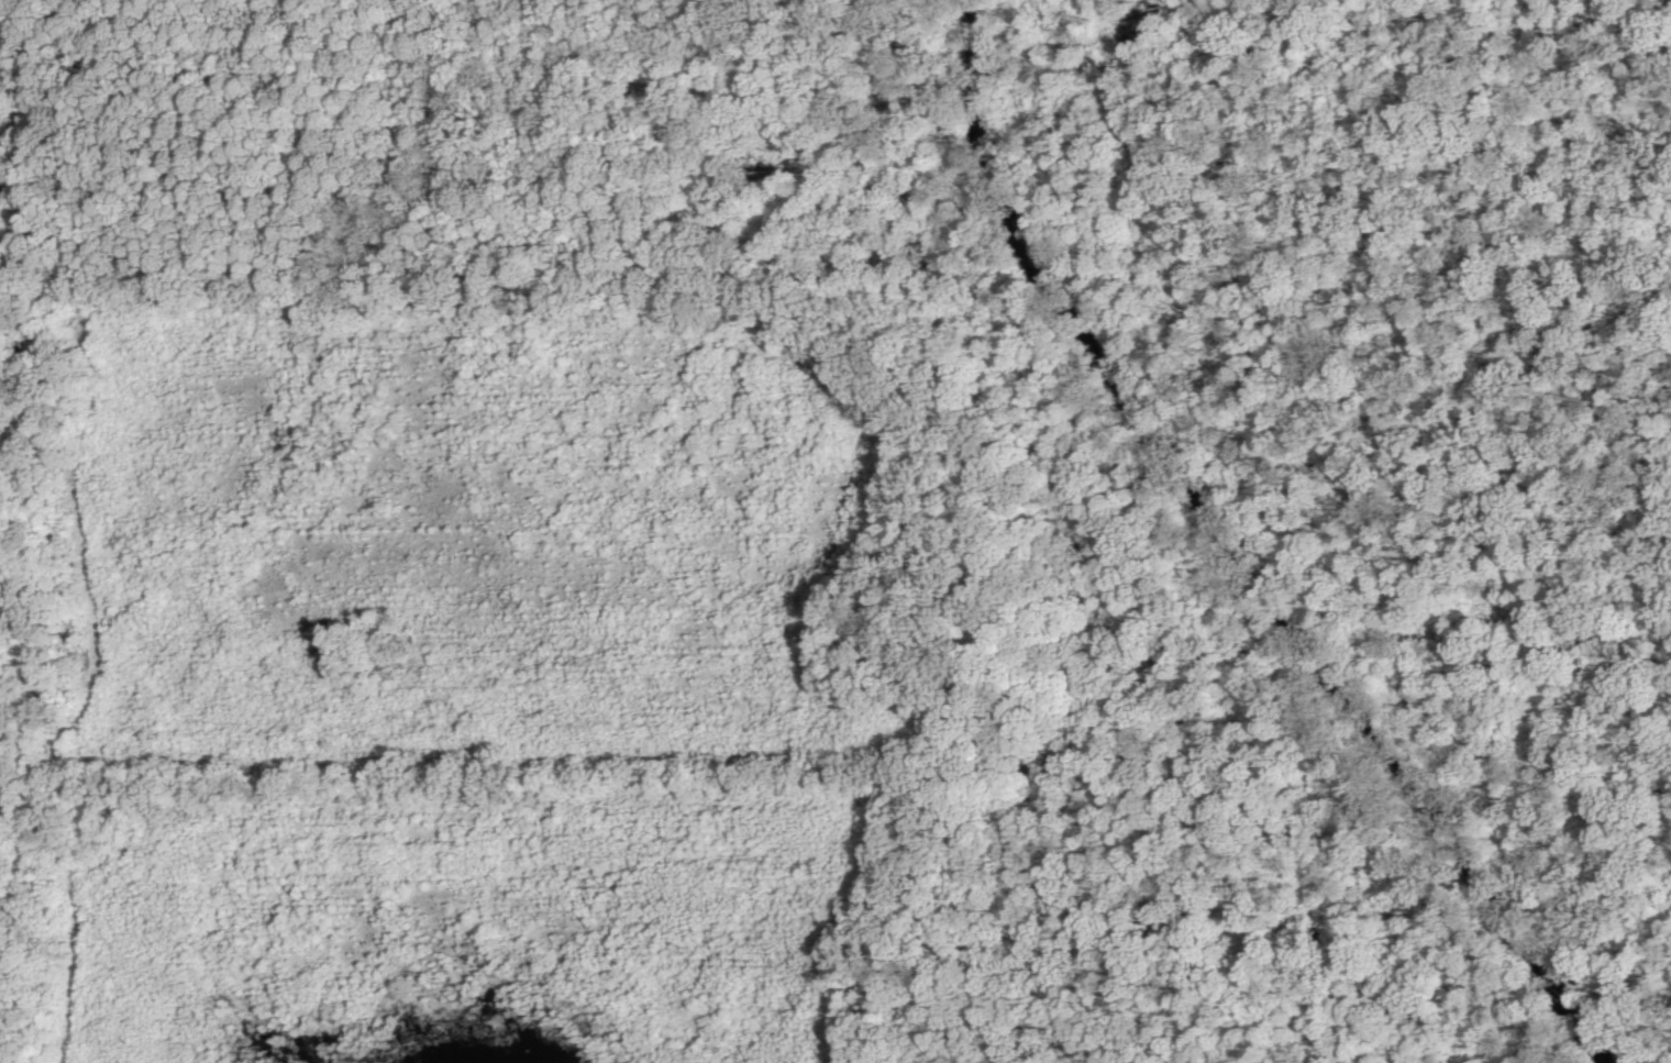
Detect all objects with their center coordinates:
park: (835, 531)

